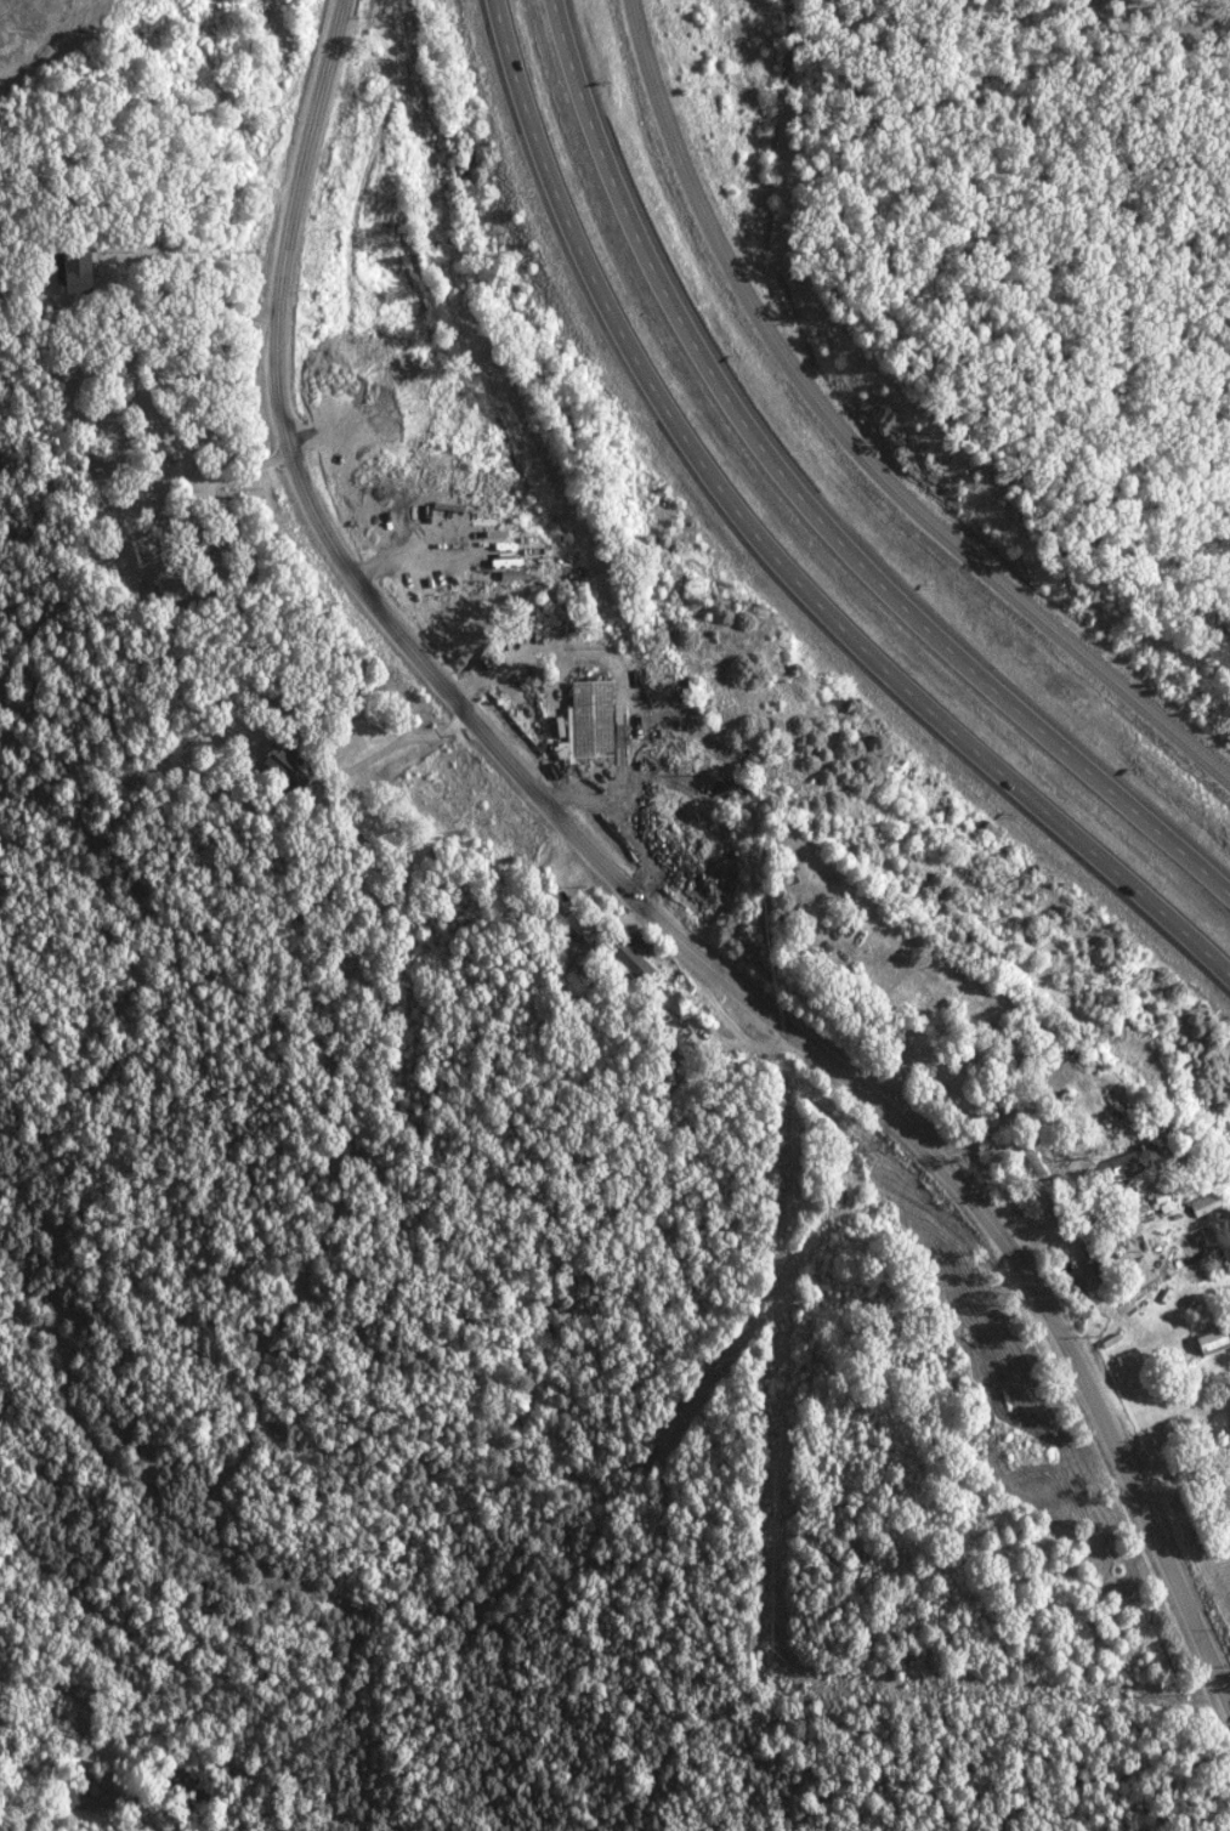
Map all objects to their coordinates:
building: (73, 273)
road: (191, 397)
road: (858, 440)
road: (809, 506)
road: (773, 549)
road: (395, 557)
road: (225, 562)
building: (509, 574)
building: (166, 591)
building: (582, 722)
road: (629, 755)
building: (273, 763)
road: (630, 823)
road: (635, 885)
building: (574, 923)
building: (627, 958)
road: (974, 1140)
building: (1130, 1160)
building: (1202, 1203)
road: (1067, 1234)
building: (1207, 1340)

